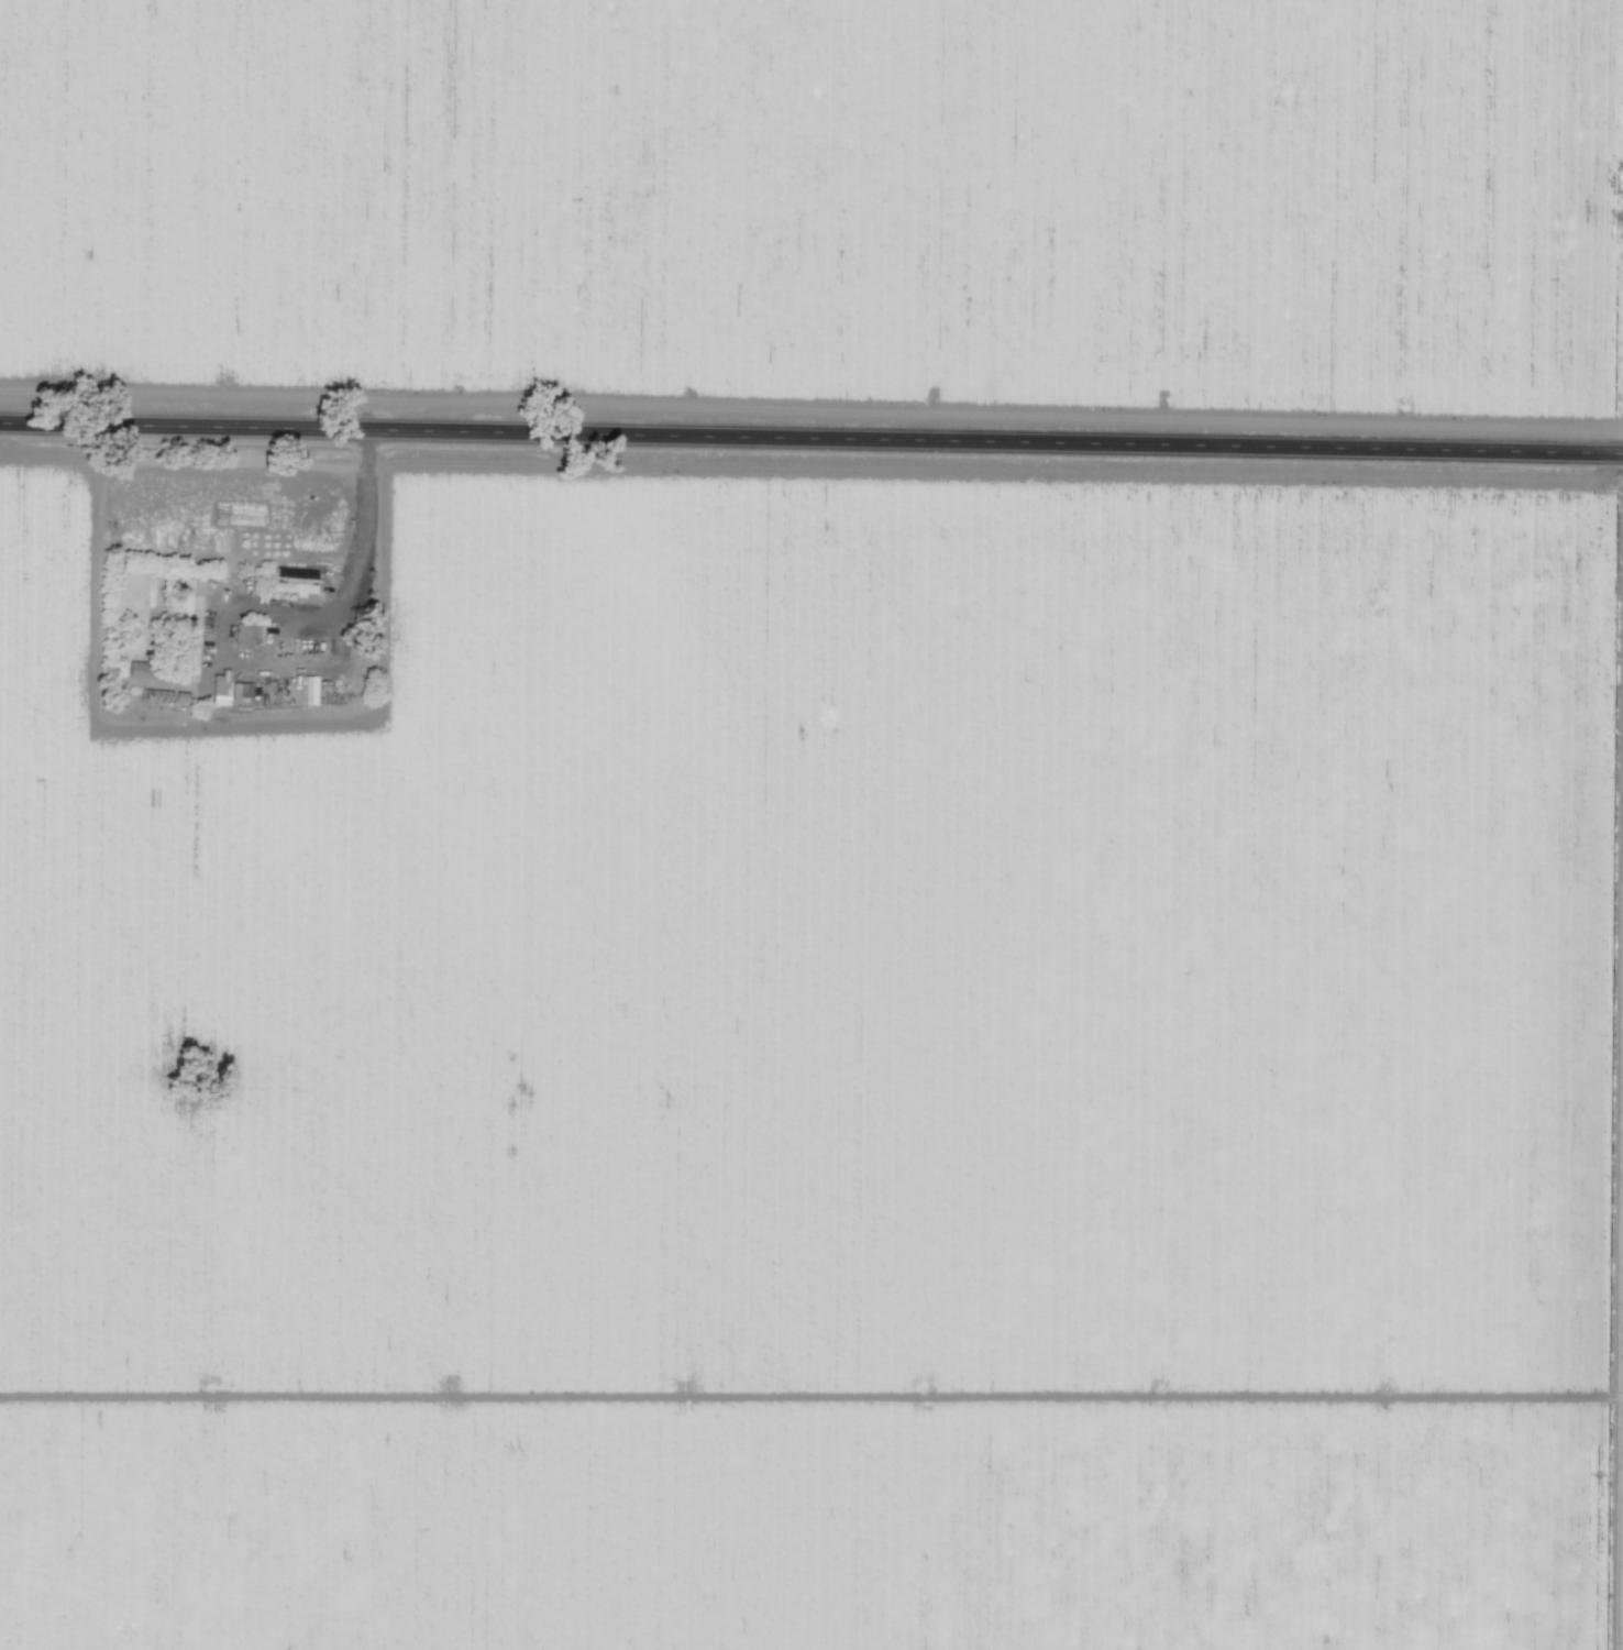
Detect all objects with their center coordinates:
road: (811, 433)
road: (360, 528)
road: (275, 638)
road: (228, 656)

